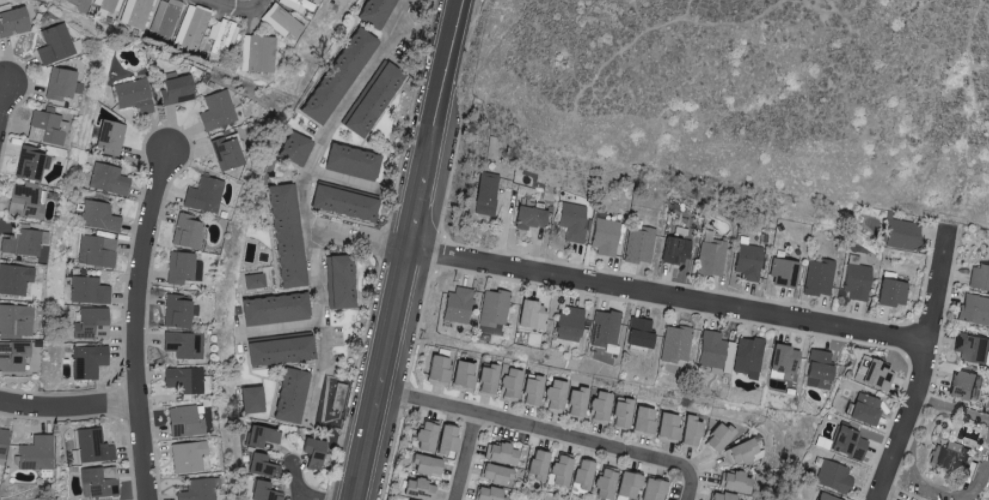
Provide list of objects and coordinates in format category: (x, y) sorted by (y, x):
building: (85, 0)
building: (110, 4)
building: (298, 5)
building: (379, 11)
road: (239, 12)
building: (137, 13)
building: (167, 17)
building: (283, 21)
building: (16, 22)
building: (192, 27)
building: (222, 35)
building: (57, 44)
building: (259, 54)
building: (342, 76)
building: (63, 83)
building: (179, 89)
building: (139, 96)
building: (376, 98)
building: (220, 110)
road: (6, 119)
building: (48, 128)
building: (112, 134)
building: (299, 148)
road: (319, 152)
building: (231, 153)
building: (357, 161)
building: (32, 163)
building: (111, 179)
building: (482, 193)
building: (208, 195)
building: (28, 202)
building: (349, 203)
building: (102, 216)
building: (528, 218)
building: (571, 222)
building: (190, 232)
building: (898, 235)
building: (290, 236)
building: (605, 236)
building: (26, 242)
building: (638, 245)
road: (406, 249)
building: (99, 251)
building: (673, 251)
building: (710, 258)
building: (747, 262)
building: (182, 267)
building: (781, 273)
building: (978, 277)
building: (818, 278)
building: (16, 279)
building: (262, 279)
building: (346, 281)
building: (855, 282)
building: (91, 290)
road: (670, 293)
building: (890, 293)
building: (456, 306)
building: (280, 308)
building: (493, 308)
building: (973, 309)
building: (179, 312)
building: (529, 315)
road: (322, 317)
building: (16, 320)
building: (96, 322)
road: (141, 322)
building: (566, 324)
building: (604, 328)
building: (638, 333)
building: (185, 345)
building: (675, 345)
building: (972, 349)
building: (285, 351)
building: (714, 352)
building: (14, 356)
building: (748, 358)
building: (781, 359)
building: (91, 361)
road: (927, 366)
building: (437, 368)
building: (817, 369)
building: (871, 374)
building: (461, 376)
building: (486, 379)
building: (186, 380)
building: (509, 383)
building: (960, 385)
building: (531, 390)
building: (295, 395)
building: (553, 397)
building: (255, 400)
building: (575, 403)
road: (954, 405)
road: (70, 406)
building: (598, 408)
building: (863, 410)
building: (620, 414)
building: (641, 421)
building: (187, 422)
building: (666, 427)
road: (550, 429)
building: (689, 432)
building: (266, 436)
building: (421, 437)
building: (716, 438)
building: (442, 440)
building: (4, 444)
building: (846, 444)
building: (94, 447)
building: (319, 452)
building: (740, 452)
building: (39, 453)
building: (498, 454)
road: (465, 455)
building: (192, 457)
building: (951, 457)
building: (265, 465)
building: (421, 465)
building: (534, 466)
building: (557, 471)
building: (492, 474)
building: (579, 475)
building: (833, 477)
road: (295, 478)
building: (102, 482)
building: (734, 482)
building: (601, 485)
building: (624, 486)
building: (413, 489)
building: (200, 490)
building: (649, 490)
building: (265, 491)
road: (938, 491)
building: (485, 494)
building: (719, 496)
building: (822, 497)
road: (310, 498)

